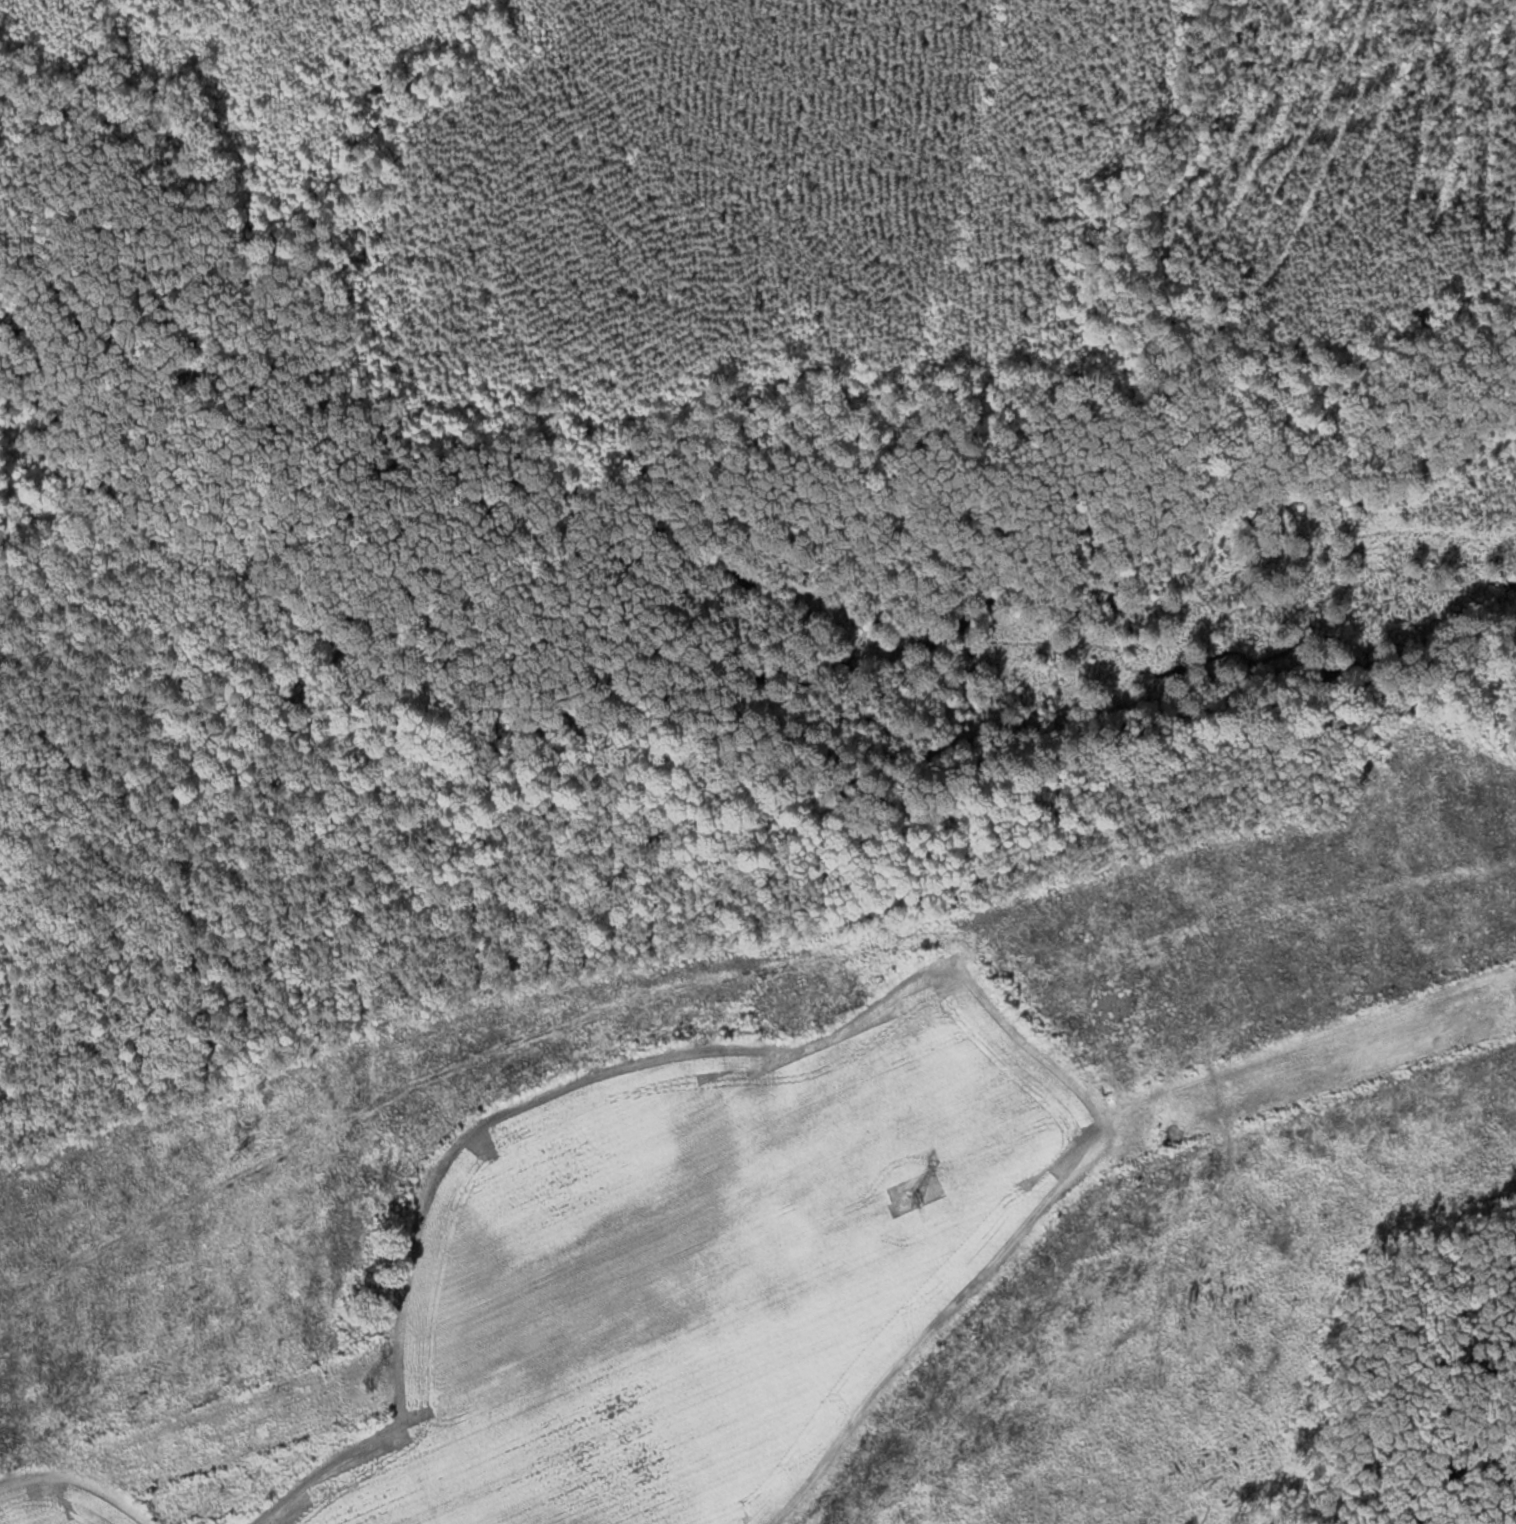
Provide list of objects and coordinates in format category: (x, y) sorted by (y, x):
power tower: (910, 1194)

